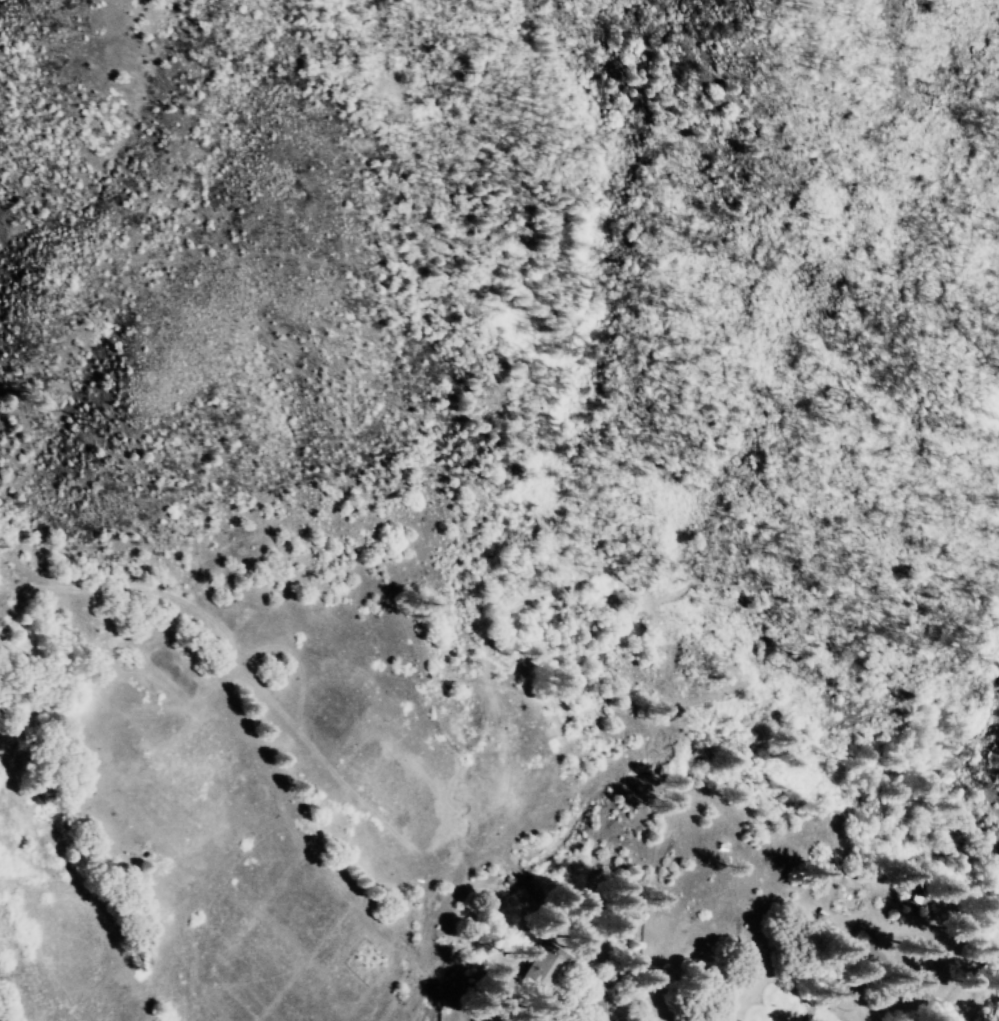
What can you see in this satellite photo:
building: (546, 965)
road: (925, 989)

